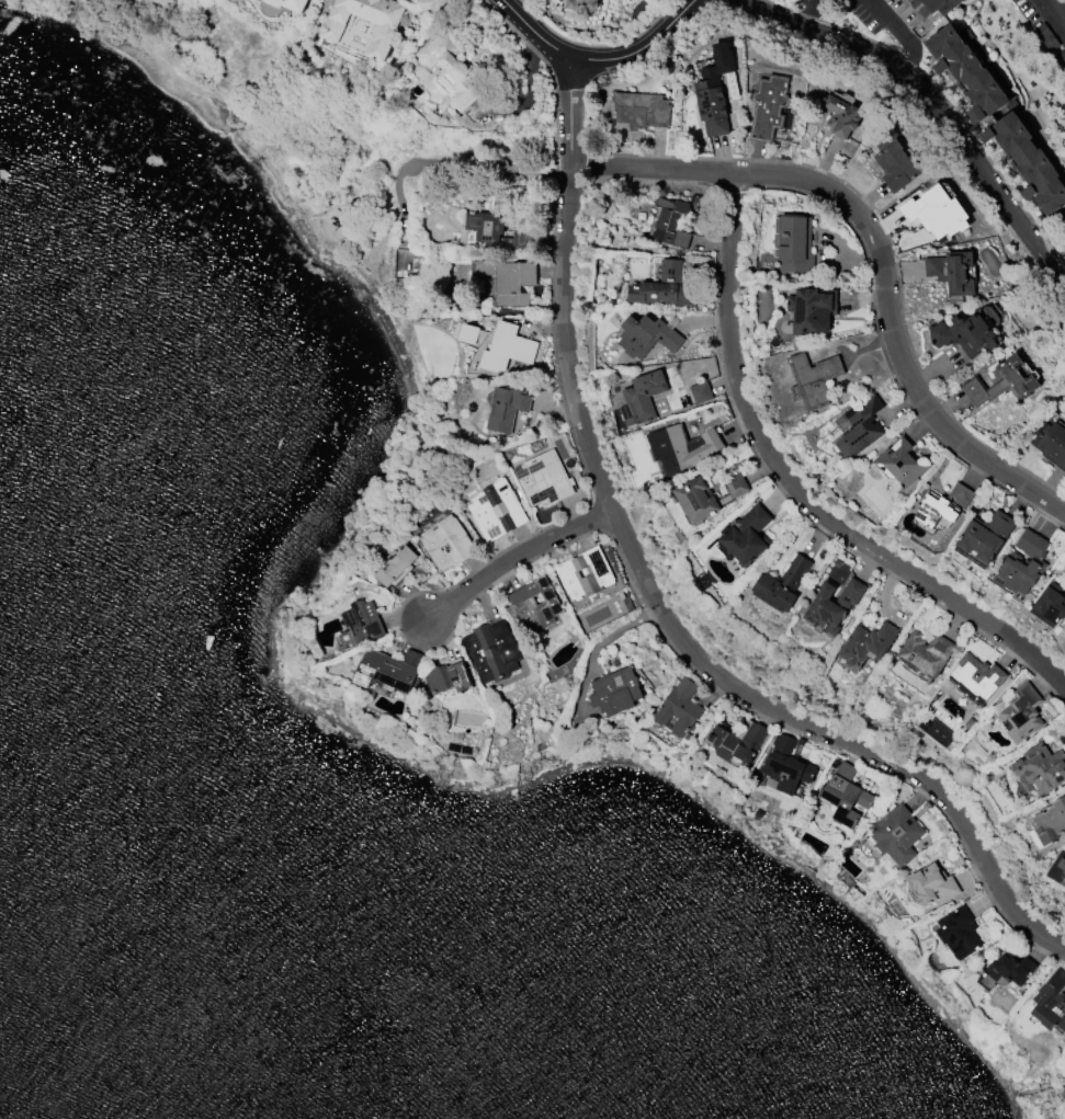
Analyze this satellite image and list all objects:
building: (784, 0)
building: (910, 0)
building: (916, 0)
road: (689, 1)
building: (290, 3)
building: (590, 4)
building: (430, 5)
building: (937, 7)
building: (1060, 7)
road: (808, 10)
road: (1056, 12)
road: (893, 23)
building: (363, 25)
road: (596, 58)
road: (550, 69)
building: (447, 70)
building: (971, 70)
building: (715, 89)
road: (931, 104)
building: (769, 106)
building: (641, 109)
road: (569, 113)
building: (842, 116)
building: (894, 159)
building: (1029, 161)
road: (455, 162)
road: (367, 184)
park: (355, 190)
building: (937, 212)
building: (671, 221)
building: (496, 229)
building: (795, 243)
building: (951, 271)
building: (513, 282)
building: (664, 285)
building: (812, 309)
road: (566, 326)
building: (468, 333)
building: (965, 333)
building: (647, 335)
building: (507, 347)
building: (813, 378)
building: (1001, 381)
building: (701, 391)
building: (642, 397)
building: (507, 407)
building: (858, 425)
building: (1051, 442)
building: (681, 447)
building: (900, 463)
building: (543, 478)
building: (735, 483)
road: (794, 487)
building: (696, 499)
building: (941, 507)
building: (496, 509)
building: (747, 535)
building: (985, 535)
building: (446, 543)
road: (513, 557)
building: (1022, 562)
building: (395, 564)
building: (585, 572)
building: (782, 583)
building: (535, 602)
building: (1050, 604)
building: (832, 605)
building: (360, 624)
building: (866, 642)
building: (491, 650)
building: (925, 652)
building: (412, 656)
building: (383, 671)
building: (446, 676)
building: (977, 676)
building: (614, 690)
building: (679, 707)
building: (1020, 711)
building: (737, 743)
building: (785, 764)
building: (1041, 766)
building: (846, 793)
building: (1050, 821)
building: (896, 834)
building: (1057, 867)
building: (932, 883)
building: (959, 930)
building: (1006, 971)
building: (1051, 1000)

